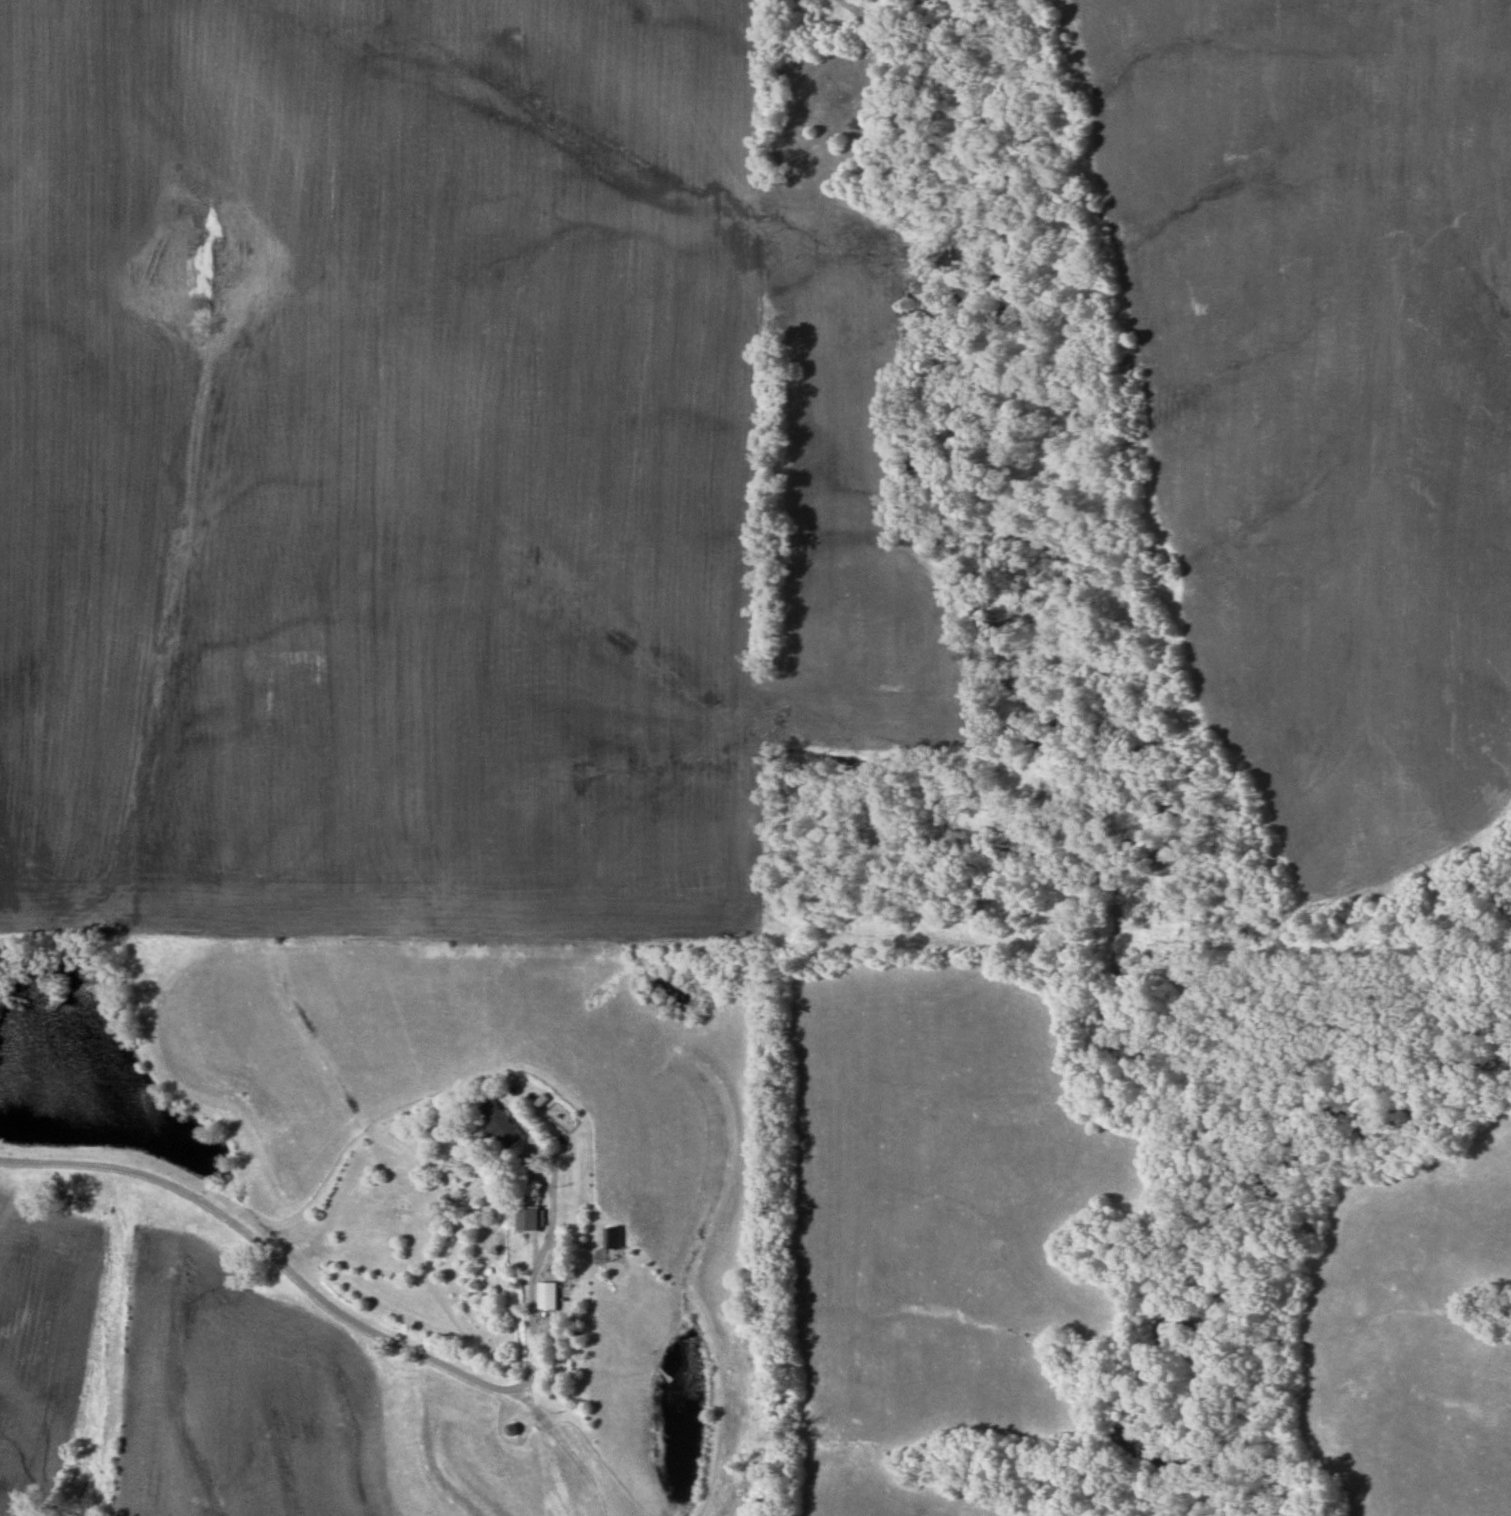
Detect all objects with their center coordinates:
building: (506, 1125)
building: (536, 1220)
building: (623, 1239)
building: (555, 1297)
road: (360, 1324)

